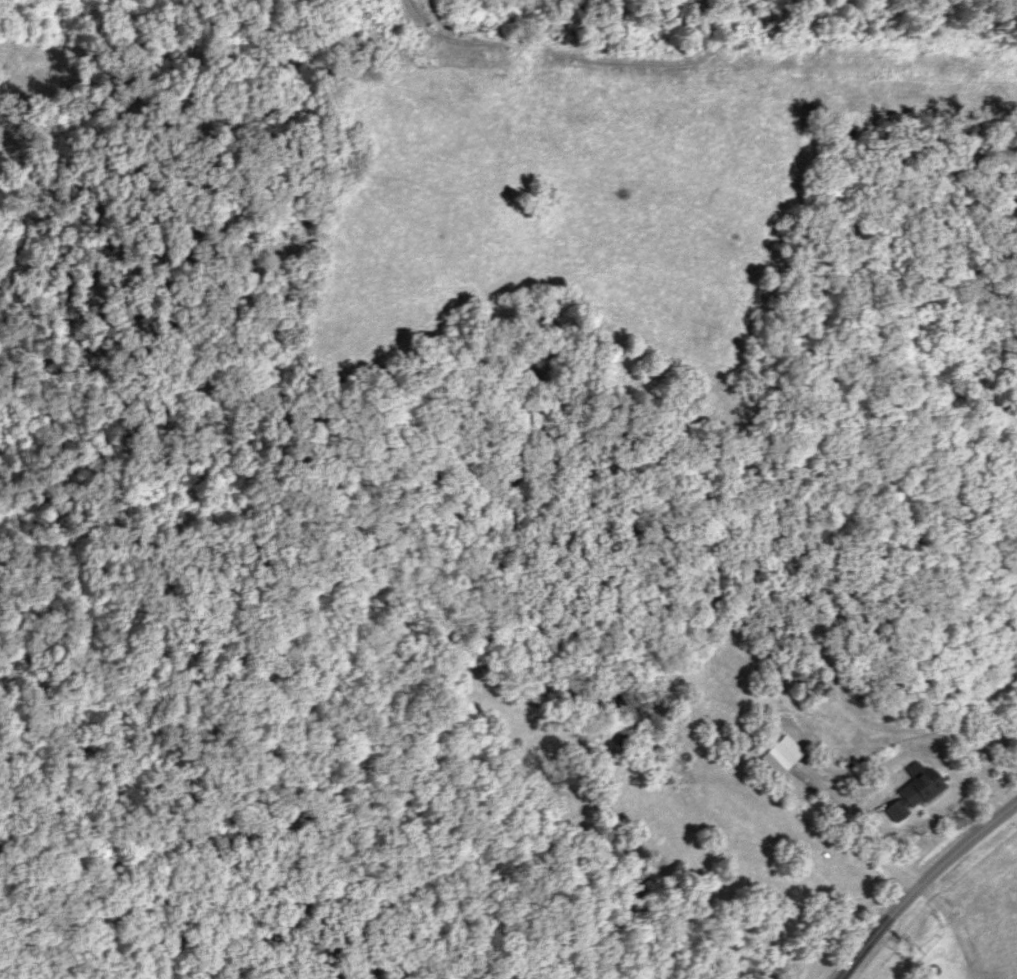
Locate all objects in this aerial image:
building: (779, 749)
building: (907, 792)
road: (919, 880)

